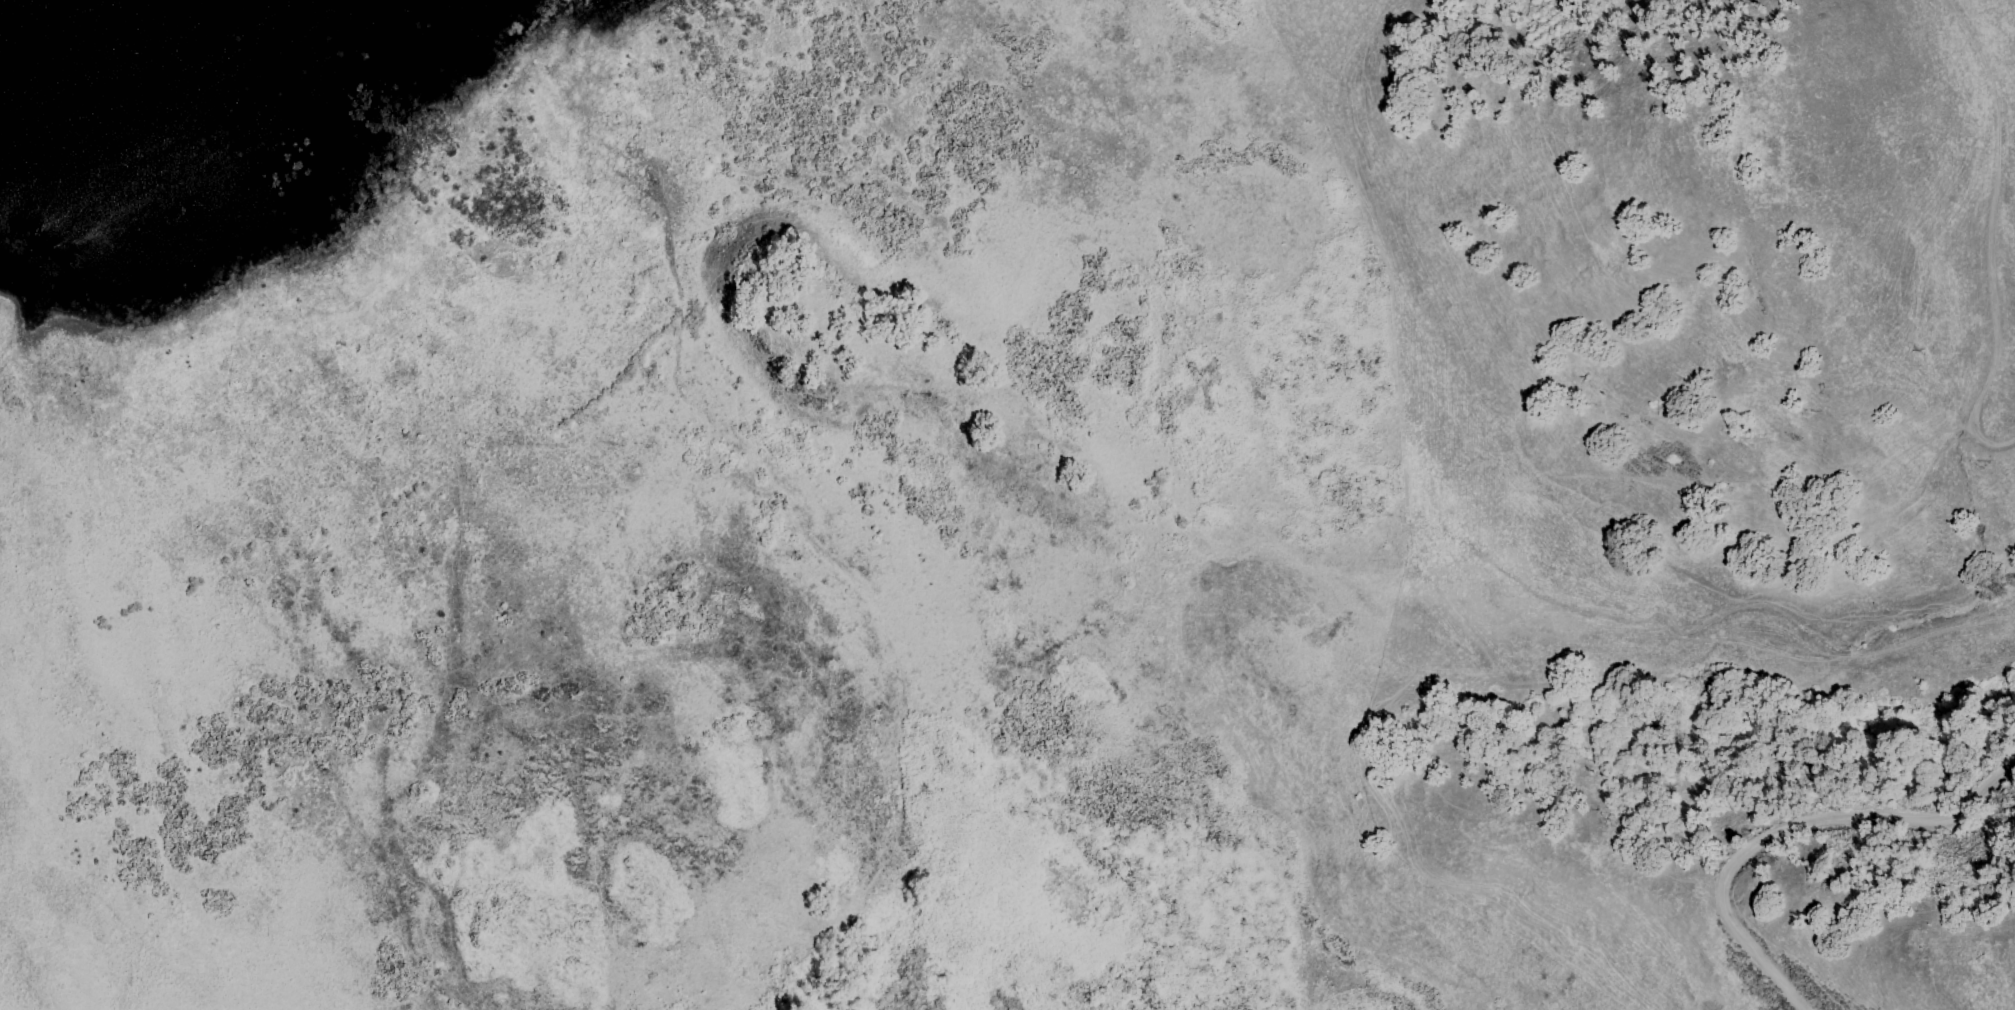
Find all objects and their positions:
road: (1790, 831)

